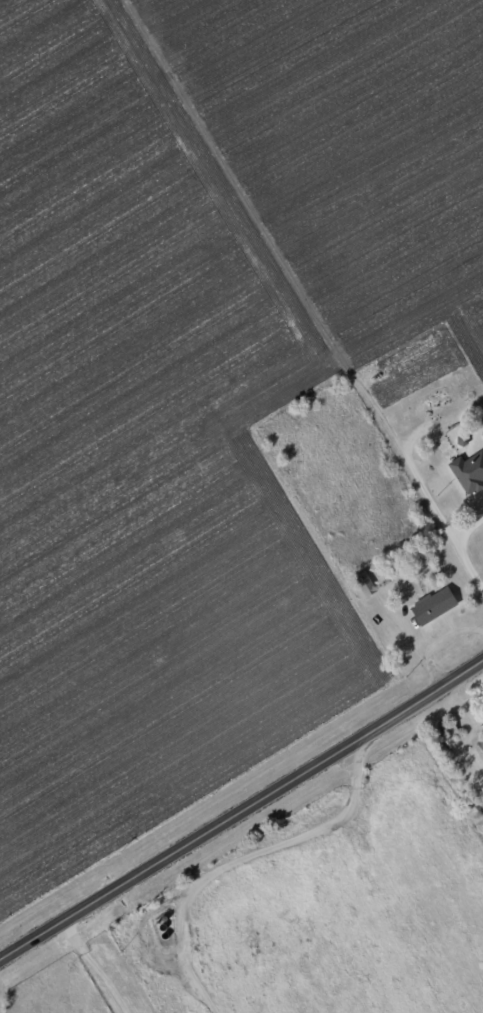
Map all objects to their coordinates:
building: (468, 472)
road: (451, 556)
building: (364, 583)
building: (432, 606)
building: (480, 747)
road: (241, 814)
road: (106, 968)

